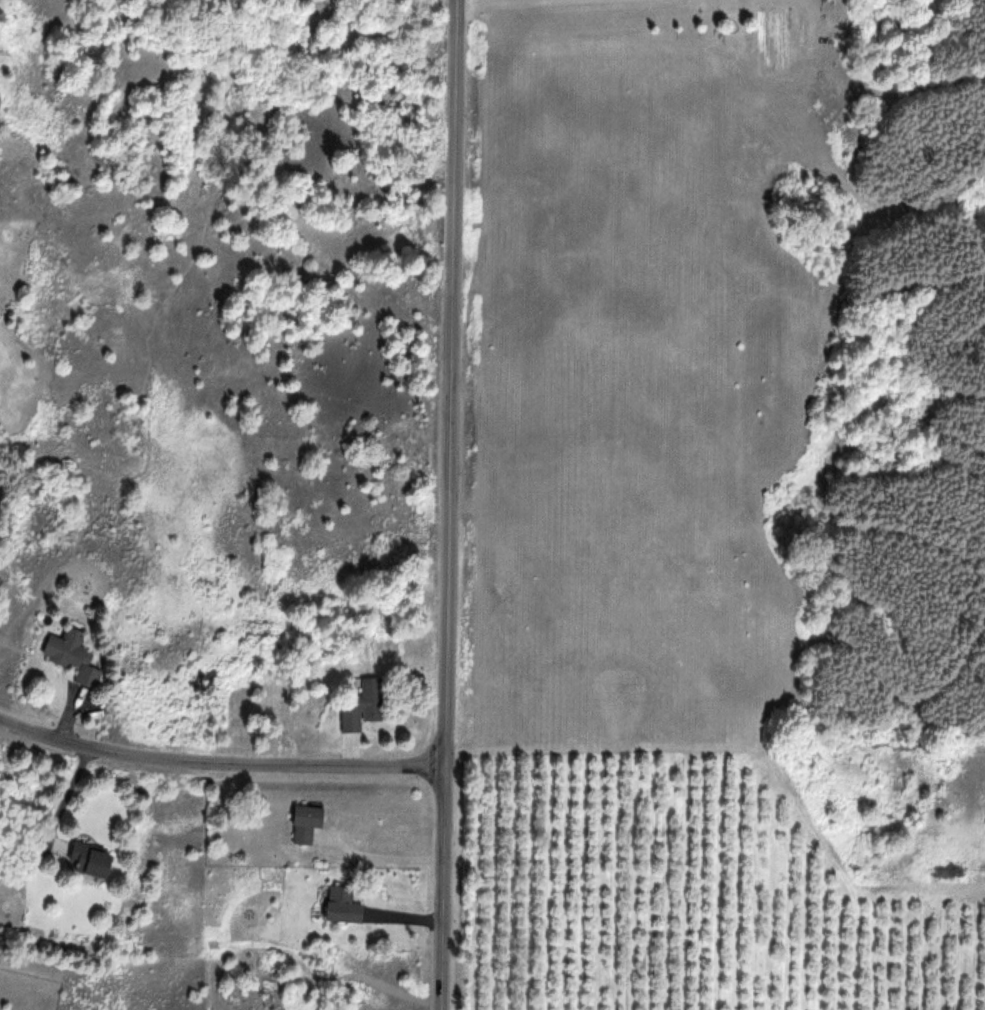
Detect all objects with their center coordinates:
road: (448, 504)
building: (73, 658)
building: (364, 705)
road: (218, 761)
building: (306, 823)
building: (90, 860)
building: (340, 904)

